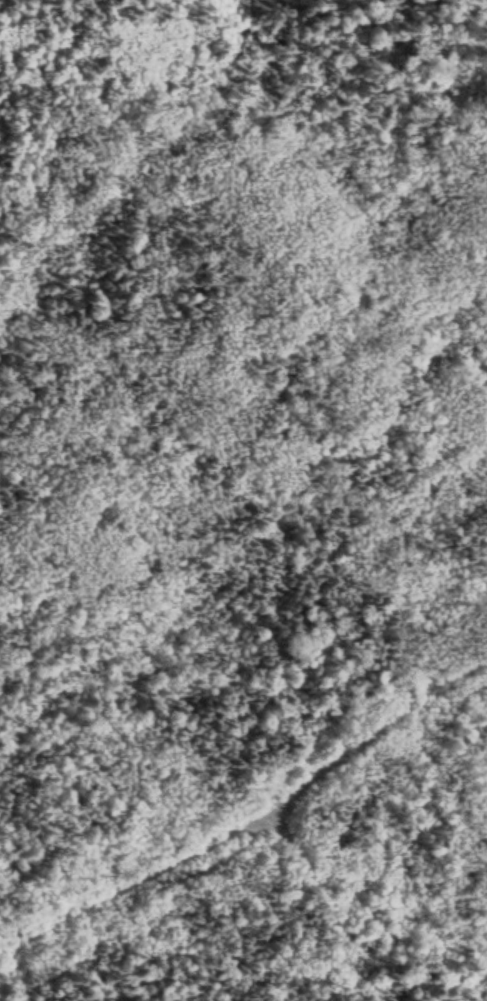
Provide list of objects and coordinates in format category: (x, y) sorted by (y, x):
park: (243, 500)

